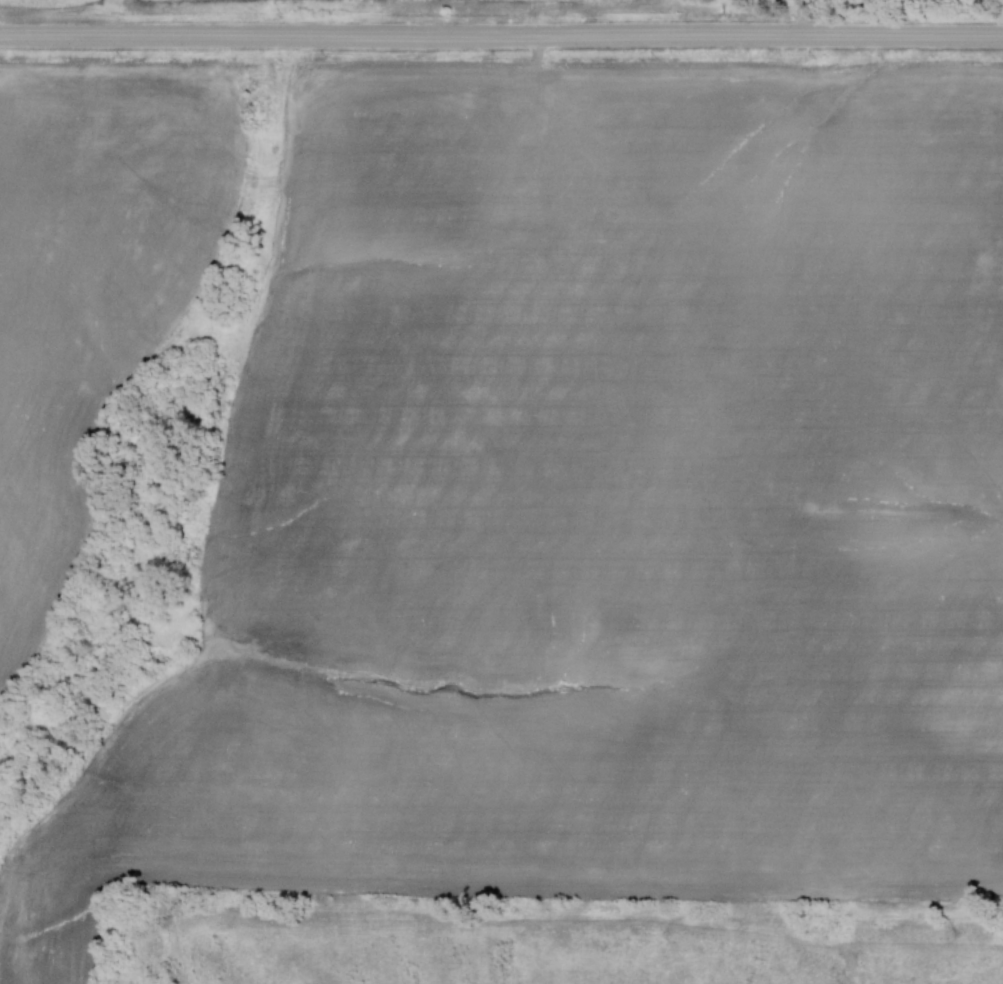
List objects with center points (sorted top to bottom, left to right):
road: (114, 18)
road: (501, 36)

